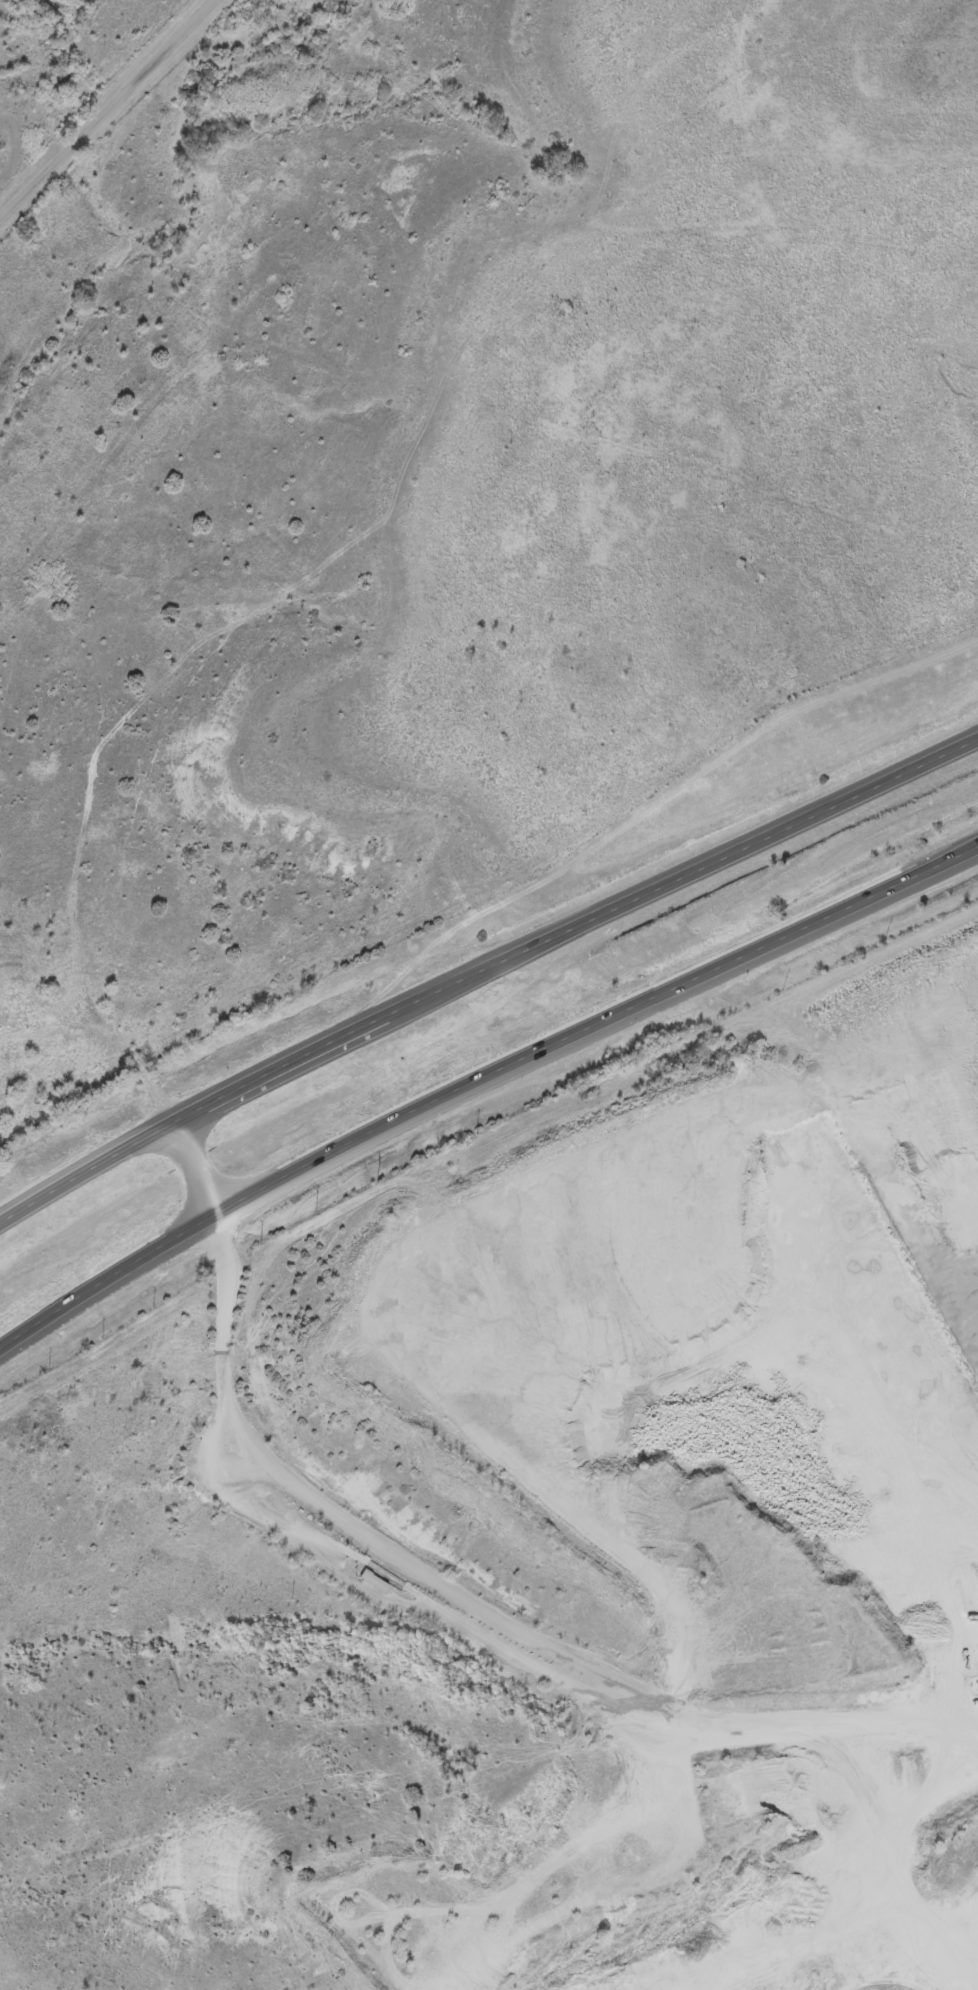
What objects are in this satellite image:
road: (104, 104)
road: (484, 967)
road: (479, 1075)
road: (193, 1165)
road: (972, 1867)

